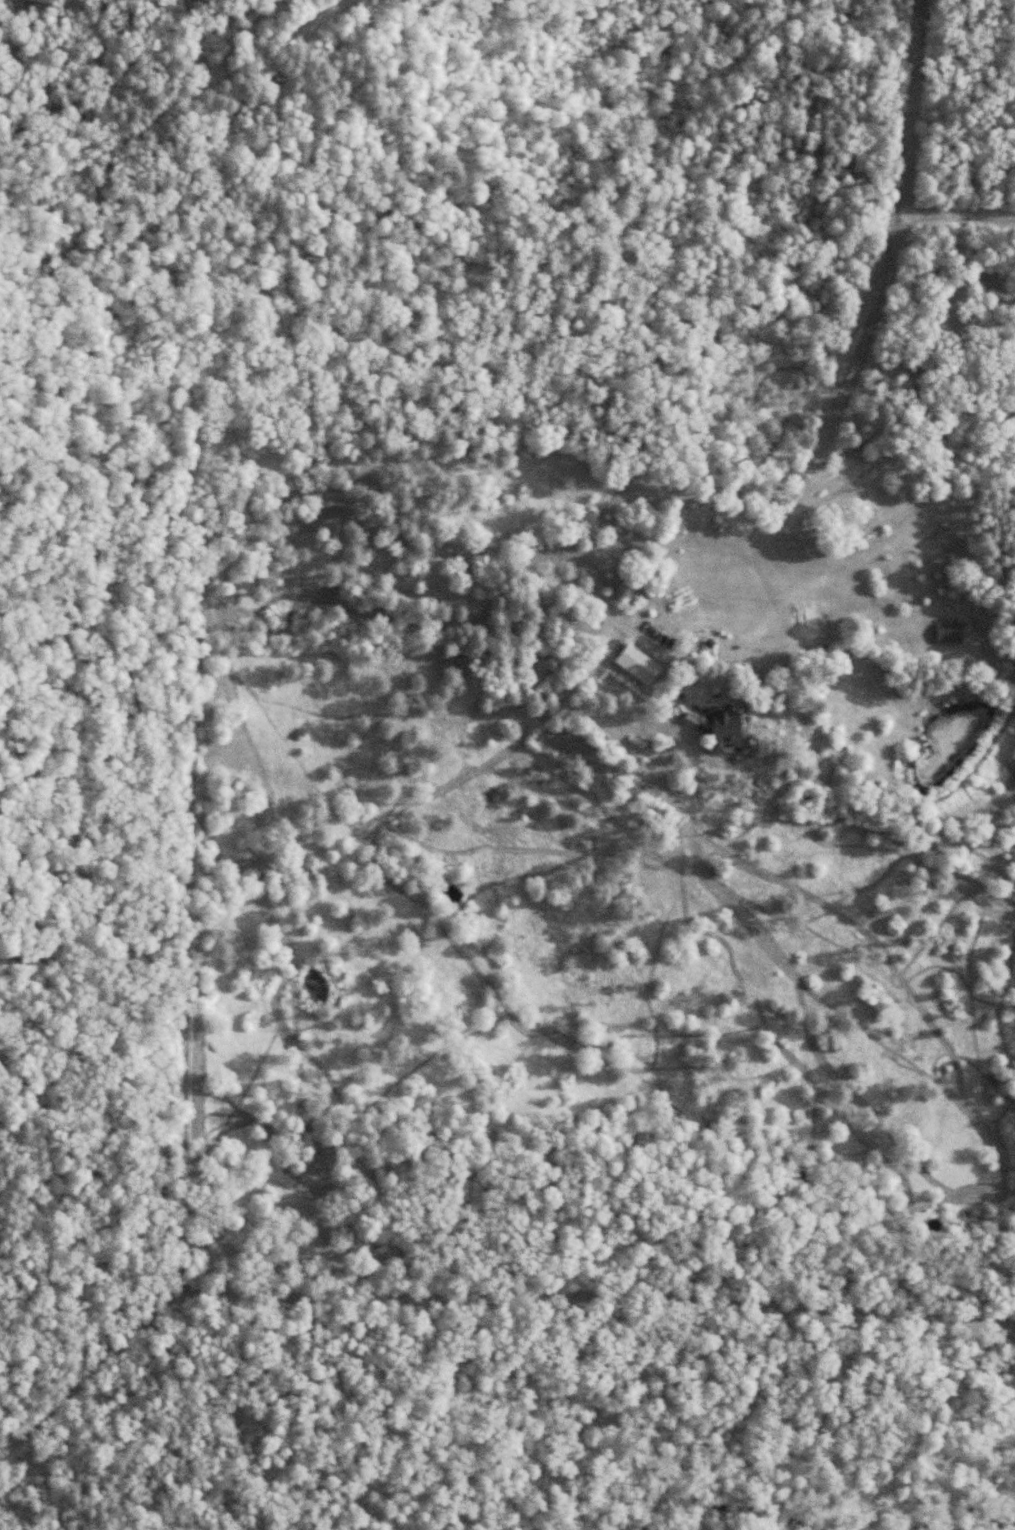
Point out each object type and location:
road: (325, 121)
road: (193, 643)
building: (640, 662)
building: (727, 727)
road: (476, 1303)

